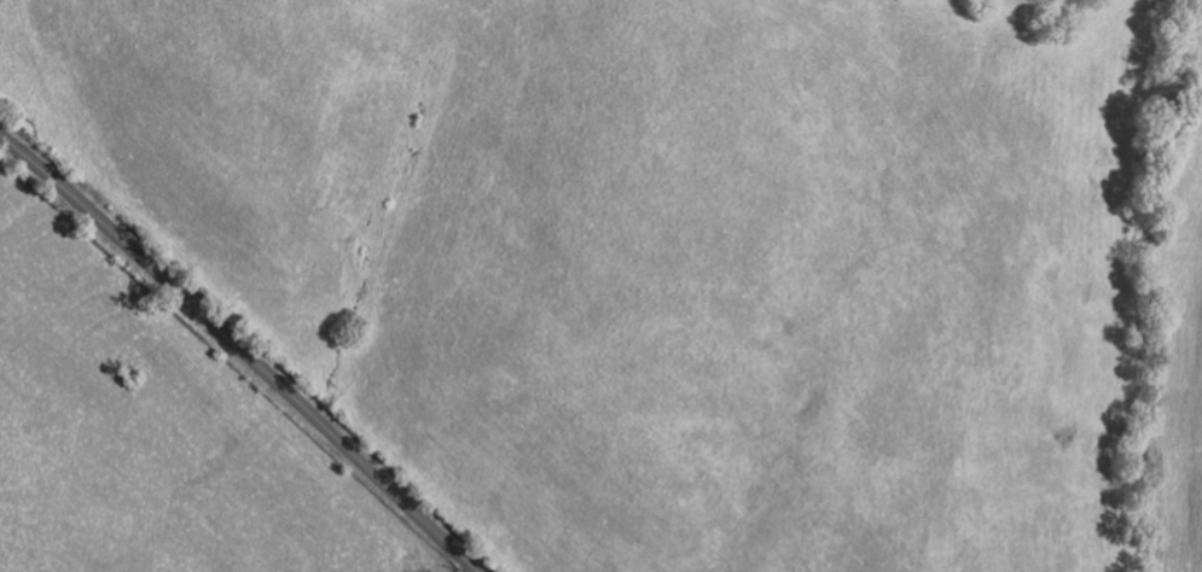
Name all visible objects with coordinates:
road: (243, 350)
road: (475, 570)

